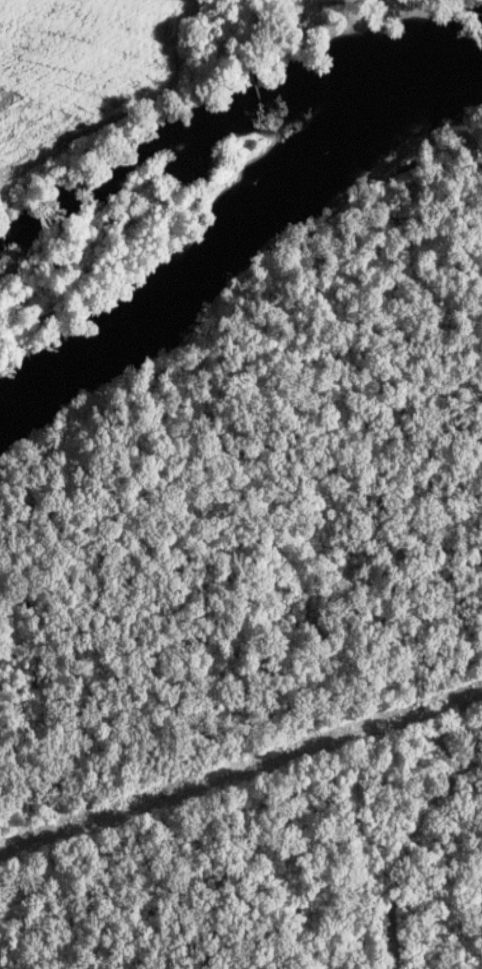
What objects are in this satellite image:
river: (244, 227)

